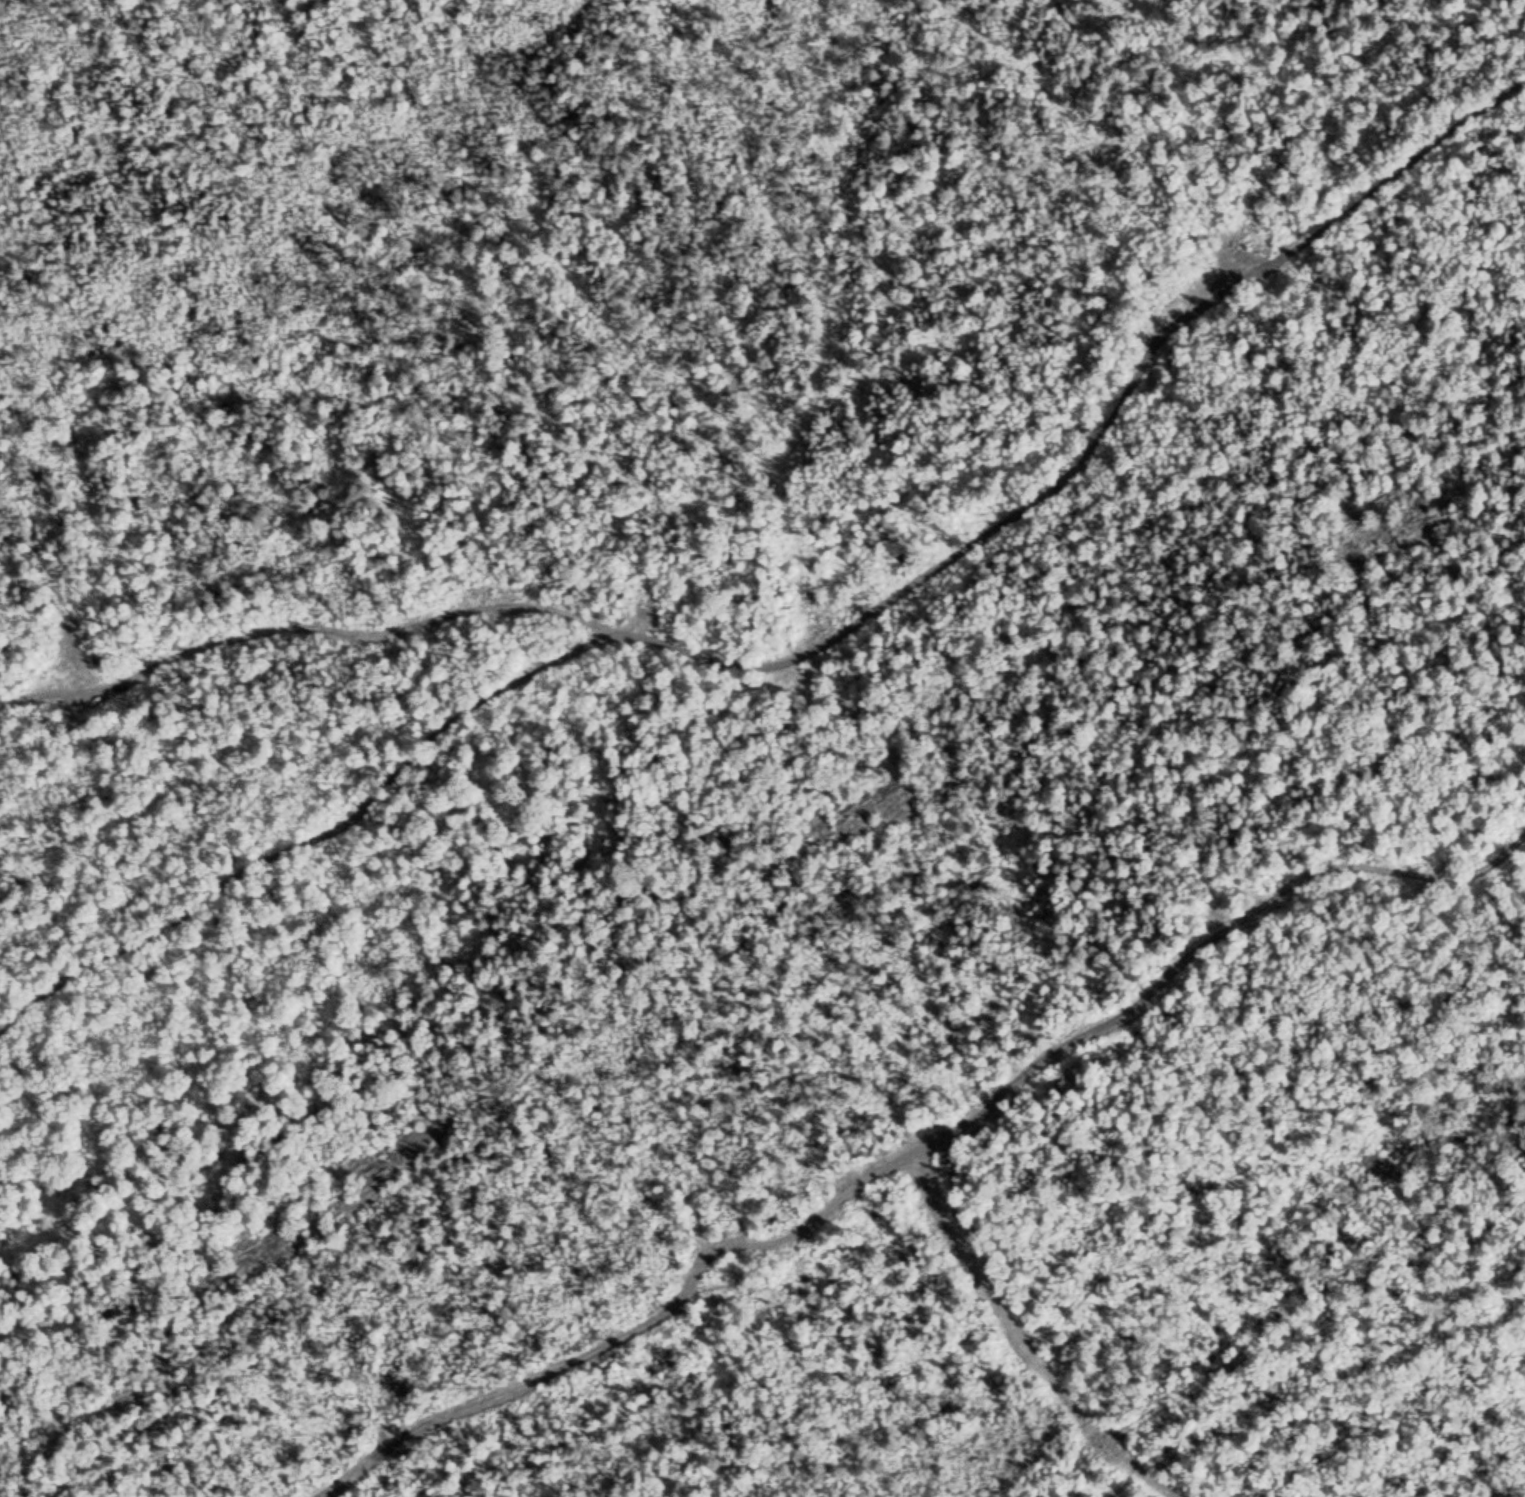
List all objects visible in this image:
road: (861, 617)

